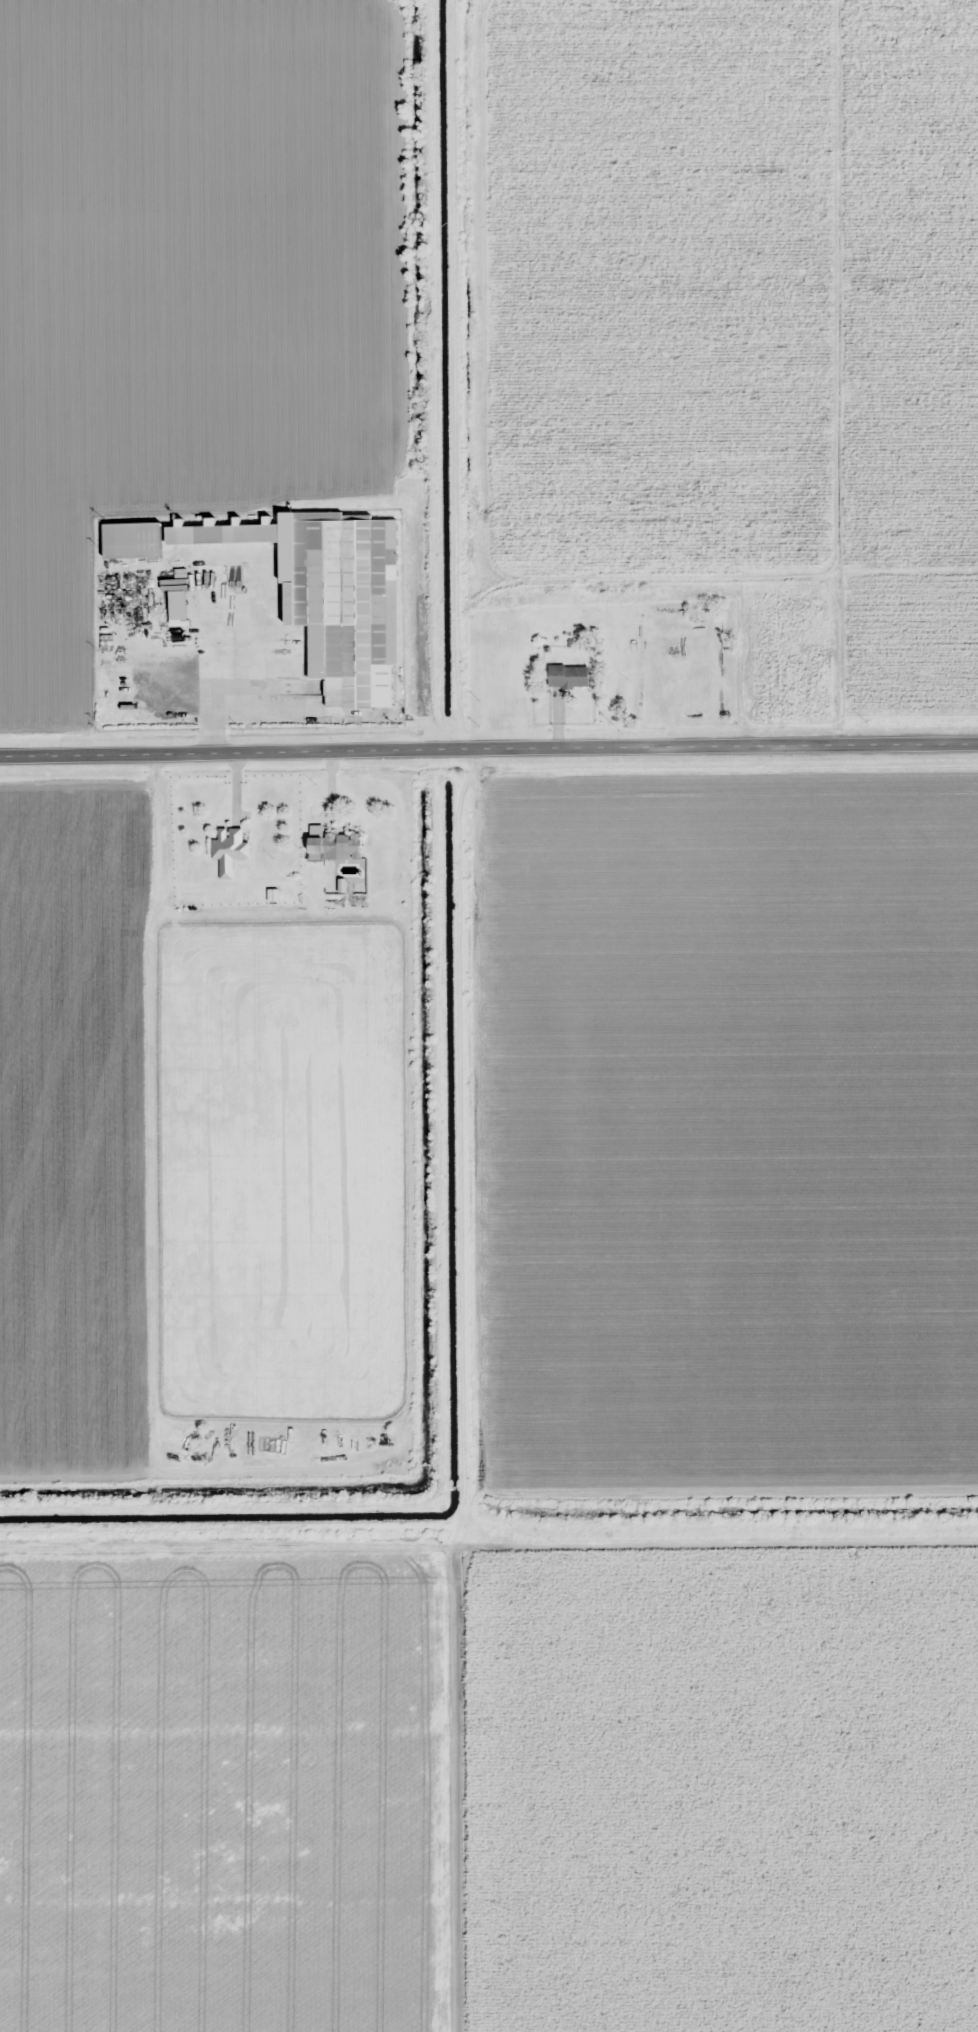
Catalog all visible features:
building: (223, 532)
building: (132, 540)
building: (341, 600)
building: (178, 604)
building: (568, 676)
road: (489, 749)
building: (333, 845)
building: (229, 849)
road: (497, 1400)

